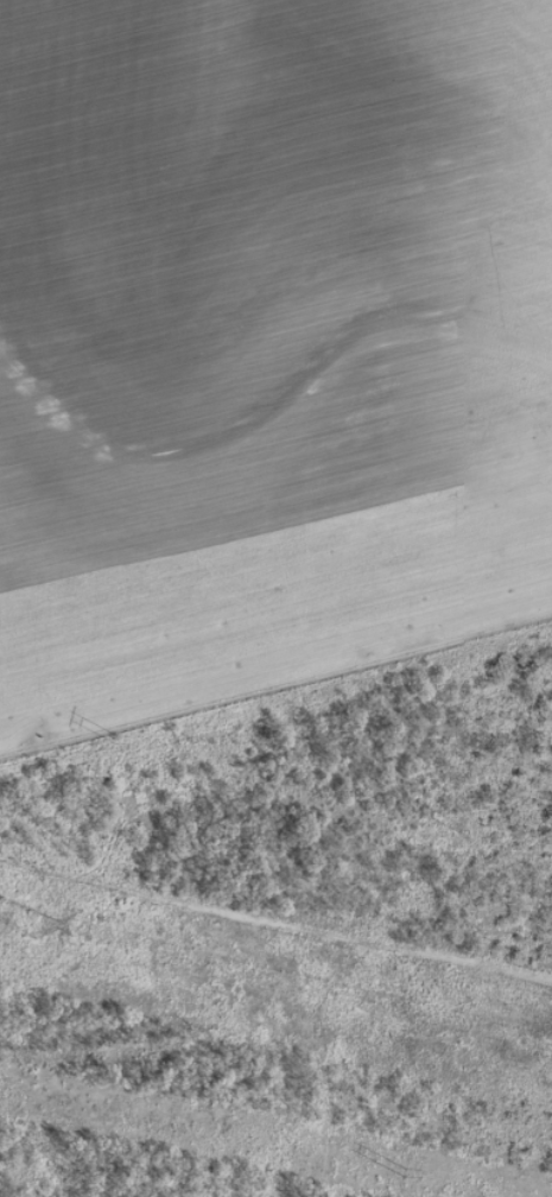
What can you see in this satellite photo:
power tower: (112, 737)
power tower: (465, 834)
power tower: (28, 914)

